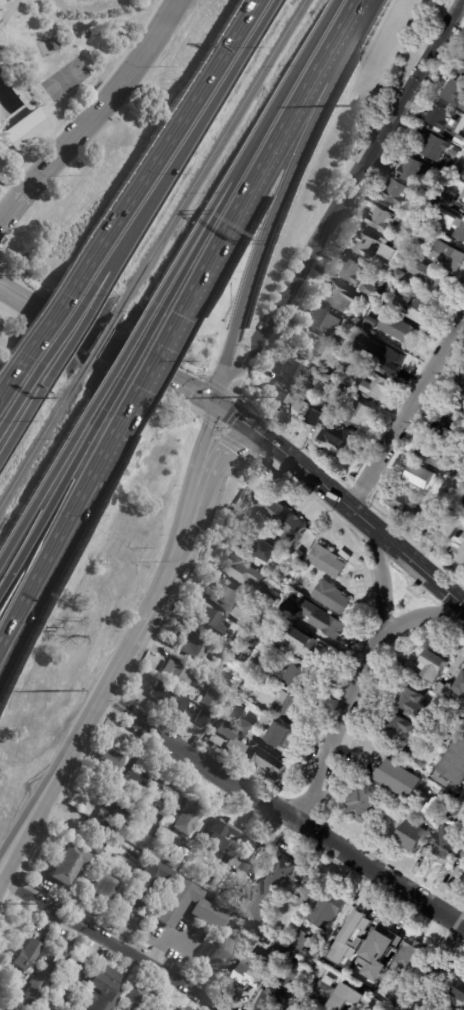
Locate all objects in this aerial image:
road: (354, 4)
road: (9, 11)
road: (45, 21)
building: (52, 44)
park: (57, 67)
building: (461, 68)
road: (291, 75)
park: (65, 80)
road: (121, 88)
building: (455, 93)
building: (439, 116)
road: (201, 122)
building: (23, 127)
road: (171, 135)
building: (460, 140)
building: (433, 145)
railway: (211, 158)
road: (263, 160)
building: (413, 170)
building: (456, 173)
building: (463, 180)
road: (281, 189)
road: (345, 192)
building: (396, 193)
road: (23, 197)
building: (449, 199)
building: (462, 206)
building: (418, 211)
building: (379, 218)
building: (450, 222)
road: (198, 224)
road: (206, 227)
building: (402, 241)
building: (366, 246)
building: (415, 247)
building: (391, 253)
building: (448, 256)
building: (406, 257)
road: (113, 259)
road: (117, 261)
building: (353, 271)
building: (402, 276)
building: (431, 278)
building: (381, 285)
building: (369, 291)
building: (337, 296)
building: (415, 310)
road: (53, 316)
building: (323, 321)
road: (69, 323)
road: (21, 327)
road: (80, 327)
building: (394, 330)
railway: (99, 342)
building: (340, 342)
road: (107, 347)
building: (308, 347)
road: (125, 349)
building: (353, 351)
road: (136, 352)
building: (390, 361)
road: (150, 367)
building: (344, 367)
building: (291, 370)
building: (463, 377)
road: (11, 380)
building: (307, 384)
building: (379, 388)
building: (335, 389)
road: (219, 391)
building: (310, 393)
building: (280, 398)
building: (458, 400)
road: (19, 401)
building: (302, 406)
traffic signals: (215, 407)
road: (407, 414)
building: (362, 415)
road: (25, 417)
building: (448, 428)
building: (334, 431)
railway: (42, 439)
road: (223, 447)
road: (200, 448)
building: (437, 456)
road: (293, 463)
building: (420, 477)
road: (48, 478)
building: (451, 488)
road: (54, 496)
building: (444, 501)
building: (405, 504)
building: (280, 517)
road: (66, 519)
building: (436, 519)
building: (450, 527)
building: (257, 543)
building: (458, 550)
building: (301, 553)
building: (294, 560)
building: (327, 561)
road: (416, 566)
road: (168, 571)
building: (244, 571)
building: (282, 576)
road: (381, 583)
building: (332, 596)
building: (230, 597)
building: (267, 599)
building: (290, 610)
road: (416, 617)
building: (323, 620)
road: (6, 631)
building: (209, 632)
road: (6, 642)
building: (306, 646)
building: (247, 654)
building: (435, 664)
building: (411, 667)
building: (264, 668)
building: (177, 674)
building: (301, 677)
building: (228, 679)
building: (204, 681)
building: (247, 689)
building: (441, 690)
building: (459, 690)
building: (213, 696)
building: (170, 700)
building: (414, 705)
road: (118, 706)
building: (289, 706)
building: (458, 715)
building: (205, 718)
building: (400, 726)
building: (247, 727)
road: (335, 733)
building: (279, 735)
road: (356, 747)
building: (250, 750)
building: (405, 755)
road: (68, 757)
building: (109, 760)
building: (454, 769)
road: (218, 772)
building: (402, 779)
building: (136, 782)
building: (169, 797)
road: (33, 800)
building: (366, 802)
building: (87, 803)
building: (459, 807)
building: (188, 817)
building: (167, 819)
building: (118, 820)
building: (422, 825)
building: (160, 830)
building: (218, 833)
building: (96, 839)
building: (448, 840)
building: (246, 852)
building: (463, 854)
building: (178, 856)
building: (68, 863)
building: (120, 865)
building: (463, 869)
building: (207, 874)
road: (3, 876)
road: (382, 877)
building: (450, 879)
building: (150, 881)
building: (104, 885)
building: (304, 886)
building: (266, 891)
building: (235, 893)
building: (213, 894)
building: (203, 908)
building: (327, 909)
building: (358, 918)
building: (385, 937)
building: (308, 943)
road: (115, 945)
building: (27, 954)
building: (225, 954)
building: (411, 956)
building: (349, 958)
building: (308, 963)
building: (318, 970)
building: (46, 971)
building: (255, 971)
building: (375, 975)
building: (288, 979)
building: (311, 980)
building: (438, 980)
building: (68, 982)
building: (103, 989)
building: (322, 990)
building: (7, 992)
building: (459, 994)
building: (136, 997)
building: (348, 997)
building: (401, 997)
building: (164, 1006)
building: (6, 1008)
building: (186, 1008)
building: (380, 1009)

